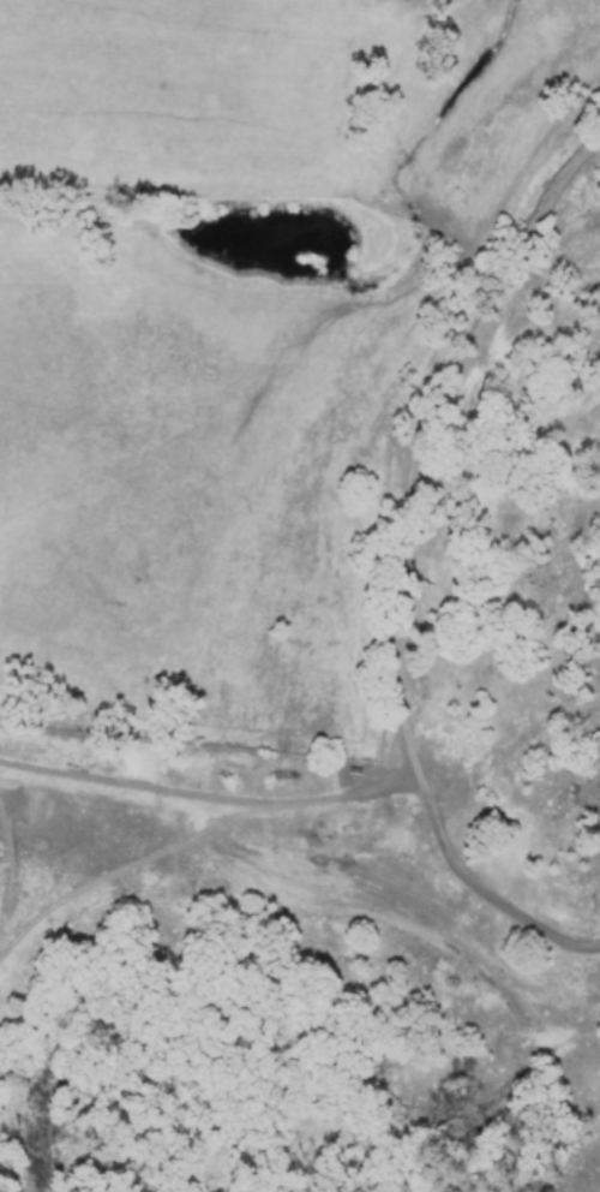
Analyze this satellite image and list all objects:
road: (403, 567)

